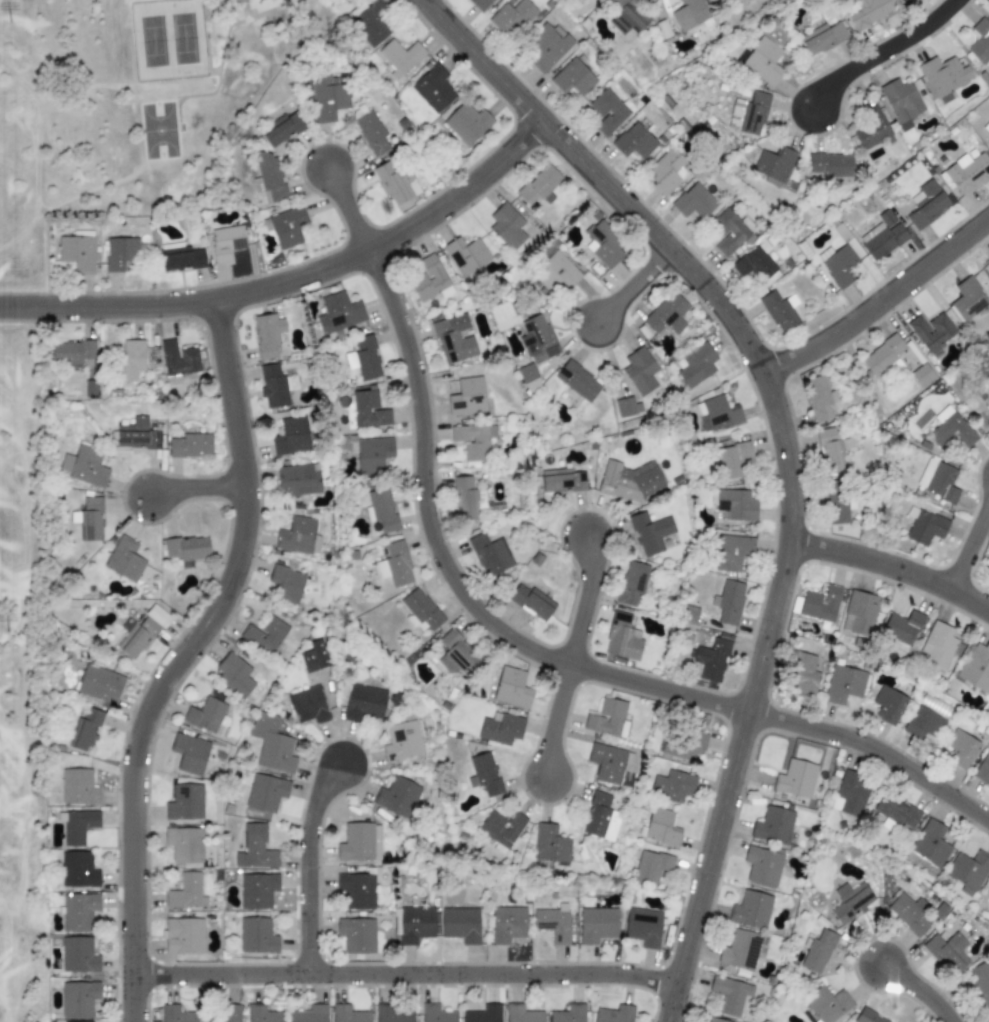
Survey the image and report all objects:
building: (582, 0)
building: (907, 2)
building: (480, 4)
building: (868, 12)
building: (689, 14)
building: (513, 17)
building: (629, 17)
building: (370, 22)
building: (822, 38)
building: (980, 42)
building: (547, 46)
road: (874, 50)
building: (399, 57)
building: (763, 61)
building: (944, 77)
building: (573, 78)
building: (434, 89)
building: (329, 97)
building: (901, 103)
building: (607, 111)
building: (753, 114)
building: (467, 123)
building: (283, 128)
building: (369, 129)
building: (872, 130)
building: (988, 134)
building: (636, 139)
building: (830, 165)
building: (774, 166)
building: (666, 171)
building: (968, 174)
building: (268, 179)
building: (395, 183)
building: (540, 186)
building: (694, 202)
building: (927, 206)
building: (287, 227)
building: (507, 227)
building: (729, 231)
building: (884, 237)
building: (226, 243)
building: (603, 244)
building: (77, 253)
building: (121, 253)
building: (467, 255)
building: (182, 259)
building: (988, 262)
building: (756, 263)
building: (839, 266)
building: (556, 273)
road: (292, 276)
building: (432, 282)
road: (631, 286)
building: (968, 299)
road: (879, 301)
building: (780, 312)
building: (339, 313)
building: (667, 315)
building: (268, 335)
building: (538, 338)
building: (453, 340)
building: (930, 343)
building: (71, 351)
building: (884, 357)
building: (364, 358)
building: (129, 360)
building: (178, 361)
building: (697, 365)
building: (640, 371)
building: (922, 375)
building: (528, 377)
building: (577, 381)
building: (275, 386)
building: (467, 397)
building: (818, 398)
building: (627, 407)
building: (369, 411)
building: (719, 413)
building: (953, 431)
building: (135, 435)
building: (291, 437)
building: (473, 441)
building: (190, 445)
building: (828, 450)
road: (785, 451)
building: (372, 455)
building: (730, 460)
building: (85, 466)
building: (298, 479)
building: (563, 479)
building: (938, 480)
building: (629, 481)
road: (193, 485)
building: (463, 498)
building: (736, 505)
building: (838, 507)
building: (381, 511)
building: (90, 520)
building: (924, 526)
building: (649, 533)
building: (299, 536)
building: (187, 549)
road: (971, 549)
building: (731, 552)
building: (490, 554)
building: (127, 559)
building: (536, 559)
building: (988, 561)
building: (395, 564)
road: (892, 565)
building: (288, 584)
building: (632, 584)
road: (582, 599)
building: (729, 602)
building: (535, 603)
building: (821, 604)
building: (423, 610)
building: (861, 613)
building: (902, 628)
building: (142, 632)
building: (267, 635)
road: (511, 639)
building: (622, 639)
building: (938, 645)
road: (182, 656)
building: (460, 657)
building: (315, 658)
building: (711, 659)
building: (976, 668)
building: (235, 675)
building: (805, 676)
building: (101, 684)
building: (844, 684)
building: (512, 689)
building: (367, 705)
building: (888, 705)
building: (310, 706)
building: (209, 717)
building: (595, 719)
road: (550, 720)
building: (923, 723)
building: (502, 730)
building: (85, 733)
building: (271, 740)
building: (403, 741)
building: (682, 745)
building: (961, 749)
building: (194, 755)
building: (607, 762)
building: (983, 769)
building: (487, 773)
building: (797, 779)
building: (673, 786)
building: (78, 789)
building: (269, 792)
building: (851, 793)
building: (398, 797)
building: (191, 808)
building: (897, 812)
building: (602, 816)
building: (78, 825)
building: (773, 827)
building: (501, 828)
building: (661, 828)
building: (358, 842)
building: (550, 845)
building: (189, 846)
building: (255, 849)
building: (929, 849)
road: (309, 865)
building: (764, 865)
building: (653, 867)
building: (78, 870)
building: (968, 872)
building: (258, 890)
building: (357, 890)
building: (187, 892)
building: (851, 902)
building: (752, 910)
building: (941, 910)
building: (80, 913)
building: (909, 914)
building: (556, 924)
building: (415, 925)
building: (462, 925)
building: (597, 925)
building: (509, 926)
building: (644, 927)
building: (185, 935)
building: (257, 935)
building: (357, 935)
building: (740, 950)
building: (819, 954)
building: (948, 954)
building: (78, 956)
road: (408, 971)
building: (981, 981)
road: (917, 990)
building: (731, 995)
building: (79, 998)
building: (828, 1003)
building: (570, 1013)
building: (176, 1014)
building: (231, 1014)
building: (310, 1014)
building: (351, 1014)
building: (391, 1014)
building: (437, 1014)
building: (485, 1014)
building: (523, 1014)
building: (616, 1014)
building: (263, 1015)
building: (867, 1017)
building: (987, 1019)
building: (714, 1020)

